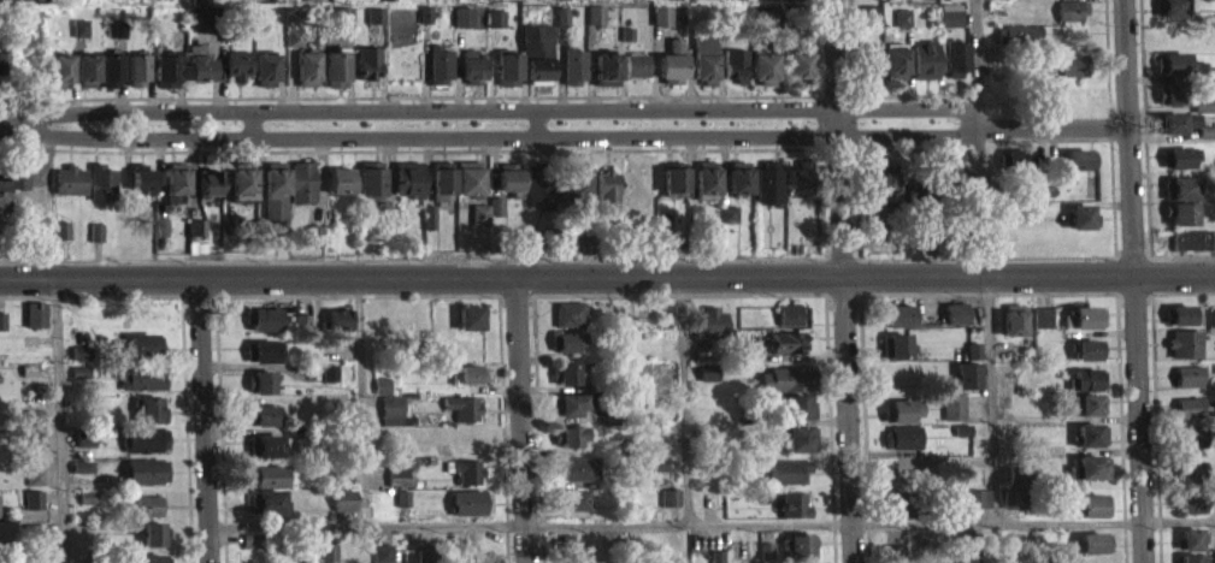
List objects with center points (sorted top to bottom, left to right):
building: (1067, 0)
building: (948, 2)
building: (671, 4)
building: (768, 4)
building: (786, 4)
building: (197, 6)
building: (1169, 16)
building: (1071, 20)
building: (595, 25)
building: (950, 25)
building: (373, 26)
building: (661, 26)
building: (462, 28)
building: (902, 28)
building: (201, 29)
building: (494, 29)
building: (78, 38)
building: (1018, 46)
building: (293, 47)
building: (535, 49)
building: (674, 55)
road: (973, 61)
building: (703, 69)
building: (956, 69)
building: (895, 71)
building: (924, 71)
building: (871, 72)
building: (367, 73)
building: (197, 75)
building: (438, 75)
building: (636, 75)
building: (798, 75)
building: (1178, 75)
building: (236, 76)
building: (573, 76)
building: (735, 76)
building: (1071, 76)
building: (334, 78)
building: (473, 78)
building: (506, 78)
building: (670, 78)
building: (762, 78)
building: (305, 79)
building: (538, 79)
building: (606, 79)
building: (59, 81)
building: (85, 81)
building: (108, 81)
building: (135, 81)
building: (264, 81)
building: (166, 82)
building: (1213, 84)
building: (1168, 105)
road: (502, 120)
road: (1050, 130)
building: (1173, 132)
road: (249, 134)
road: (536, 134)
road: (12, 136)
road: (1125, 143)
road: (500, 147)
building: (1179, 167)
building: (1015, 170)
building: (1079, 170)
building: (141, 188)
building: (273, 188)
building: (467, 188)
building: (508, 188)
building: (704, 188)
building: (738, 188)
building: (955, 188)
building: (14, 189)
building: (176, 189)
building: (407, 189)
building: (673, 189)
building: (797, 190)
building: (69, 191)
building: (300, 191)
building: (337, 191)
building: (370, 191)
building: (442, 191)
building: (208, 192)
building: (766, 192)
building: (880, 192)
building: (101, 194)
building: (241, 194)
building: (573, 195)
building: (538, 198)
building: (1178, 198)
building: (606, 201)
building: (1, 206)
building: (495, 217)
building: (273, 219)
building: (727, 224)
building: (1179, 224)
building: (478, 225)
building: (1080, 227)
building: (196, 237)
building: (60, 241)
building: (95, 242)
building: (570, 242)
building: (312, 245)
building: (1190, 250)
road: (841, 281)
road: (607, 286)
building: (955, 324)
building: (35, 325)
building: (568, 325)
building: (788, 325)
building: (898, 326)
building: (1176, 326)
building: (470, 327)
building: (1042, 327)
building: (1084, 328)
building: (1213, 328)
building: (263, 330)
building: (338, 330)
building: (1, 331)
building: (1011, 331)
building: (709, 332)
building: (565, 352)
building: (786, 352)
building: (1184, 354)
building: (143, 355)
building: (895, 357)
building: (973, 361)
building: (1087, 361)
building: (260, 362)
building: (81, 363)
building: (79, 381)
building: (329, 383)
building: (706, 383)
building: (471, 384)
building: (567, 384)
building: (967, 386)
building: (1187, 386)
building: (141, 389)
building: (785, 390)
building: (1087, 390)
building: (260, 392)
building: (381, 396)
road: (992, 403)
building: (567, 415)
building: (1086, 415)
building: (462, 417)
building: (797, 417)
building: (952, 417)
building: (1189, 419)
building: (147, 420)
building: (393, 420)
building: (900, 421)
road: (205, 422)
road: (519, 425)
road: (1137, 425)
building: (34, 426)
building: (261, 426)
building: (607, 428)
building: (961, 440)
building: (572, 445)
building: (1090, 445)
building: (901, 448)
building: (1192, 448)
building: (84, 449)
building: (798, 449)
building: (144, 450)
building: (264, 456)
building: (655, 475)
building: (82, 478)
building: (1089, 478)
building: (577, 479)
building: (146, 481)
building: (467, 481)
building: (786, 481)
building: (399, 482)
building: (1192, 482)
building: (1018, 484)
building: (269, 486)
building: (343, 486)
building: (35, 487)
building: (88, 508)
building: (668, 508)
building: (402, 509)
building: (978, 509)
building: (1013, 509)
building: (33, 510)
building: (343, 510)
building: (571, 510)
building: (265, 512)
building: (470, 512)
building: (896, 512)
building: (1192, 514)
building: (792, 515)
building: (1093, 515)
building: (143, 516)
road: (869, 522)
building: (153, 544)
building: (1189, 550)
building: (250, 551)
building: (1092, 552)
building: (796, 553)
building: (328, 558)
building: (382, 558)
building: (765, 558)
building: (892, 558)
building: (963, 562)

